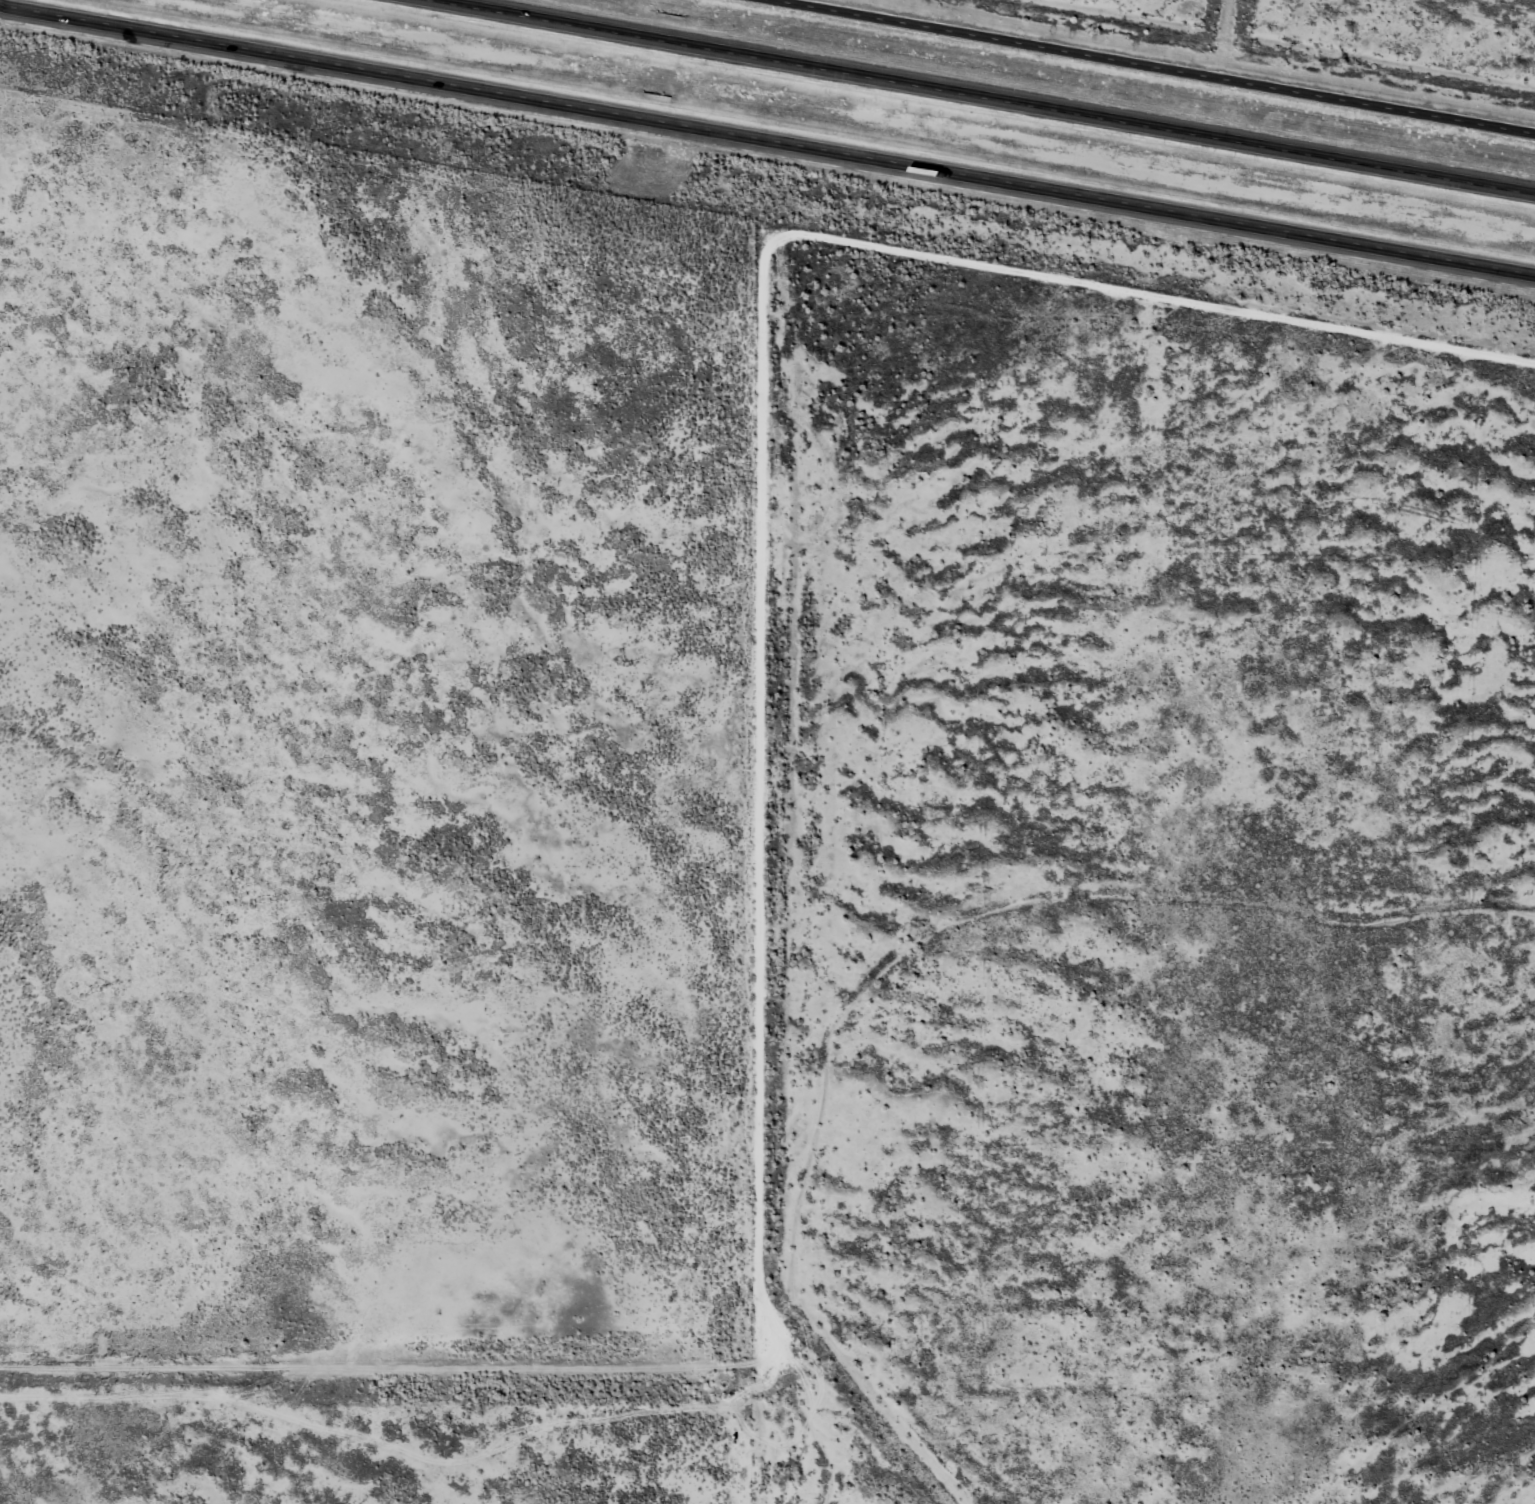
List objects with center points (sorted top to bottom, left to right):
road: (1165, 63)
road: (1009, 91)
road: (767, 146)

